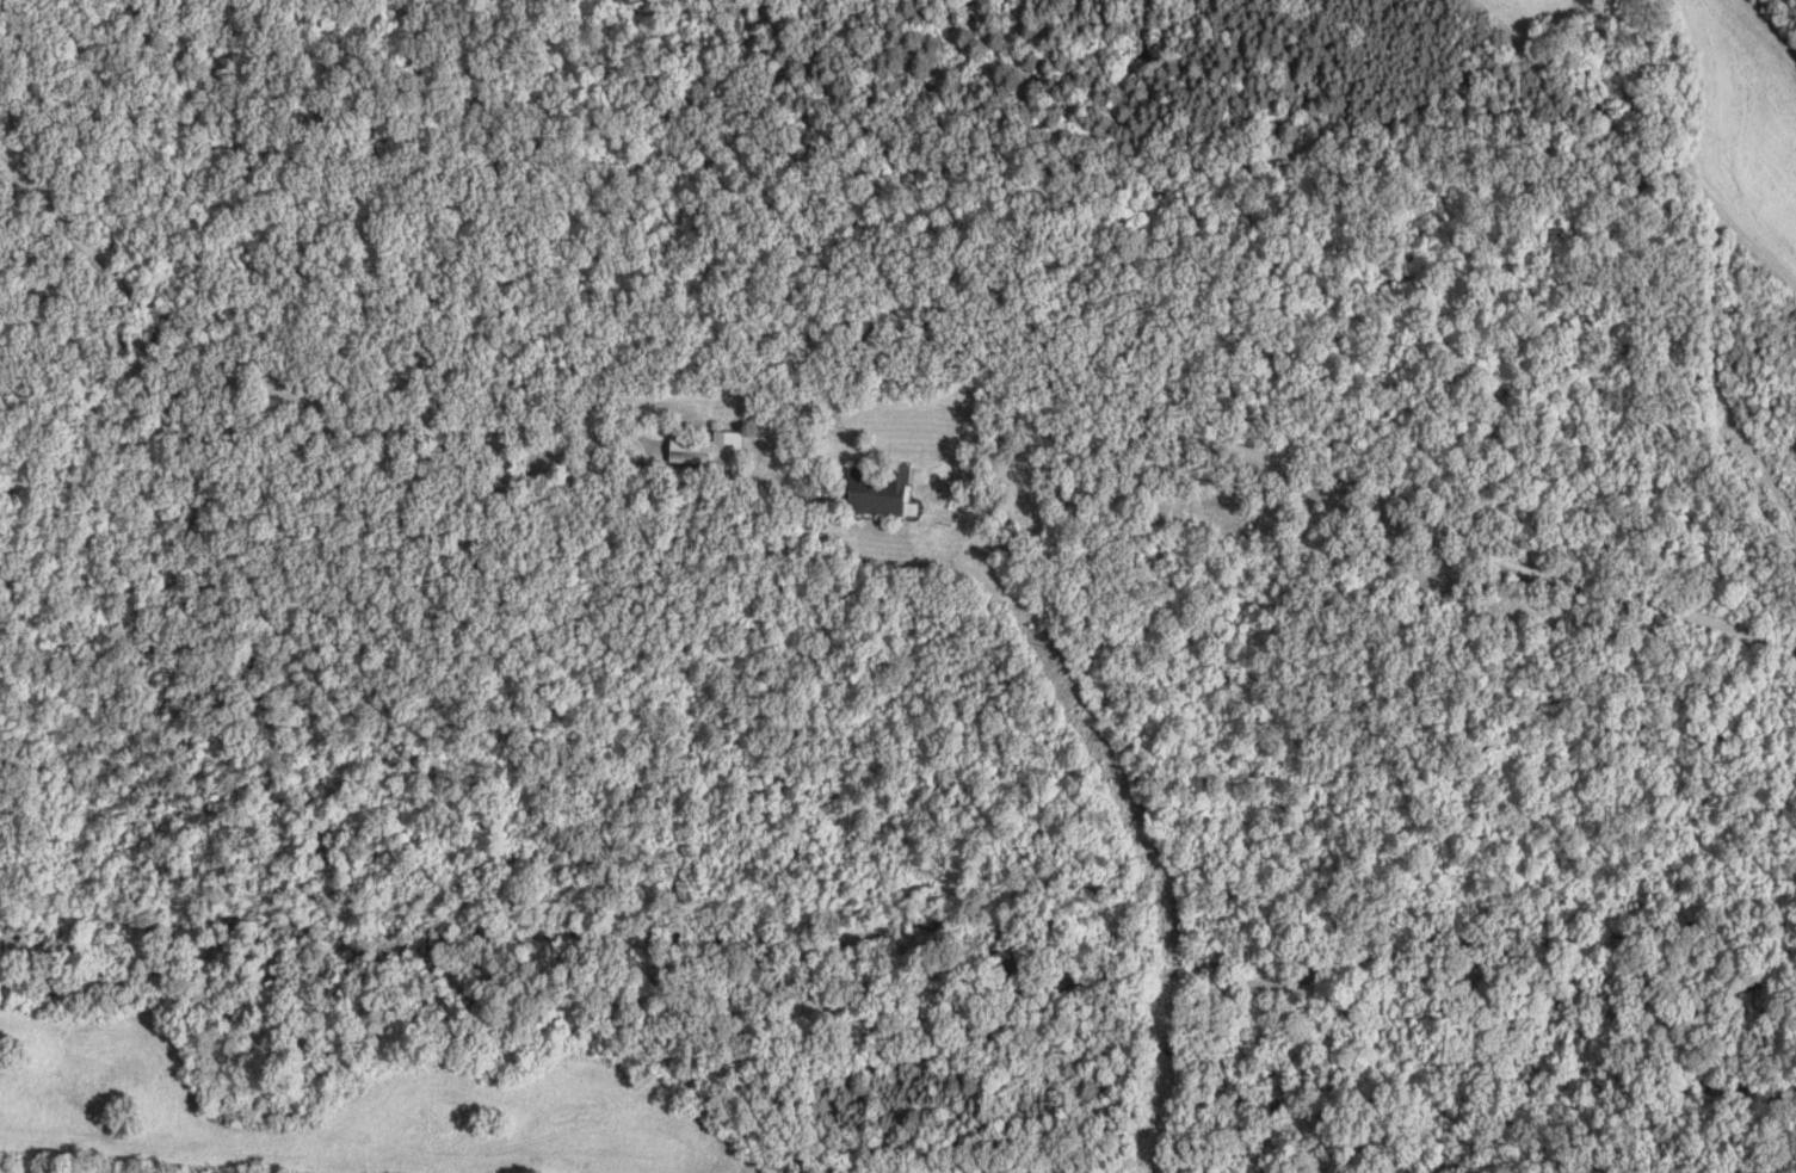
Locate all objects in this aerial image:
road: (1635, 134)
road: (875, 403)
building: (710, 450)
building: (884, 490)

